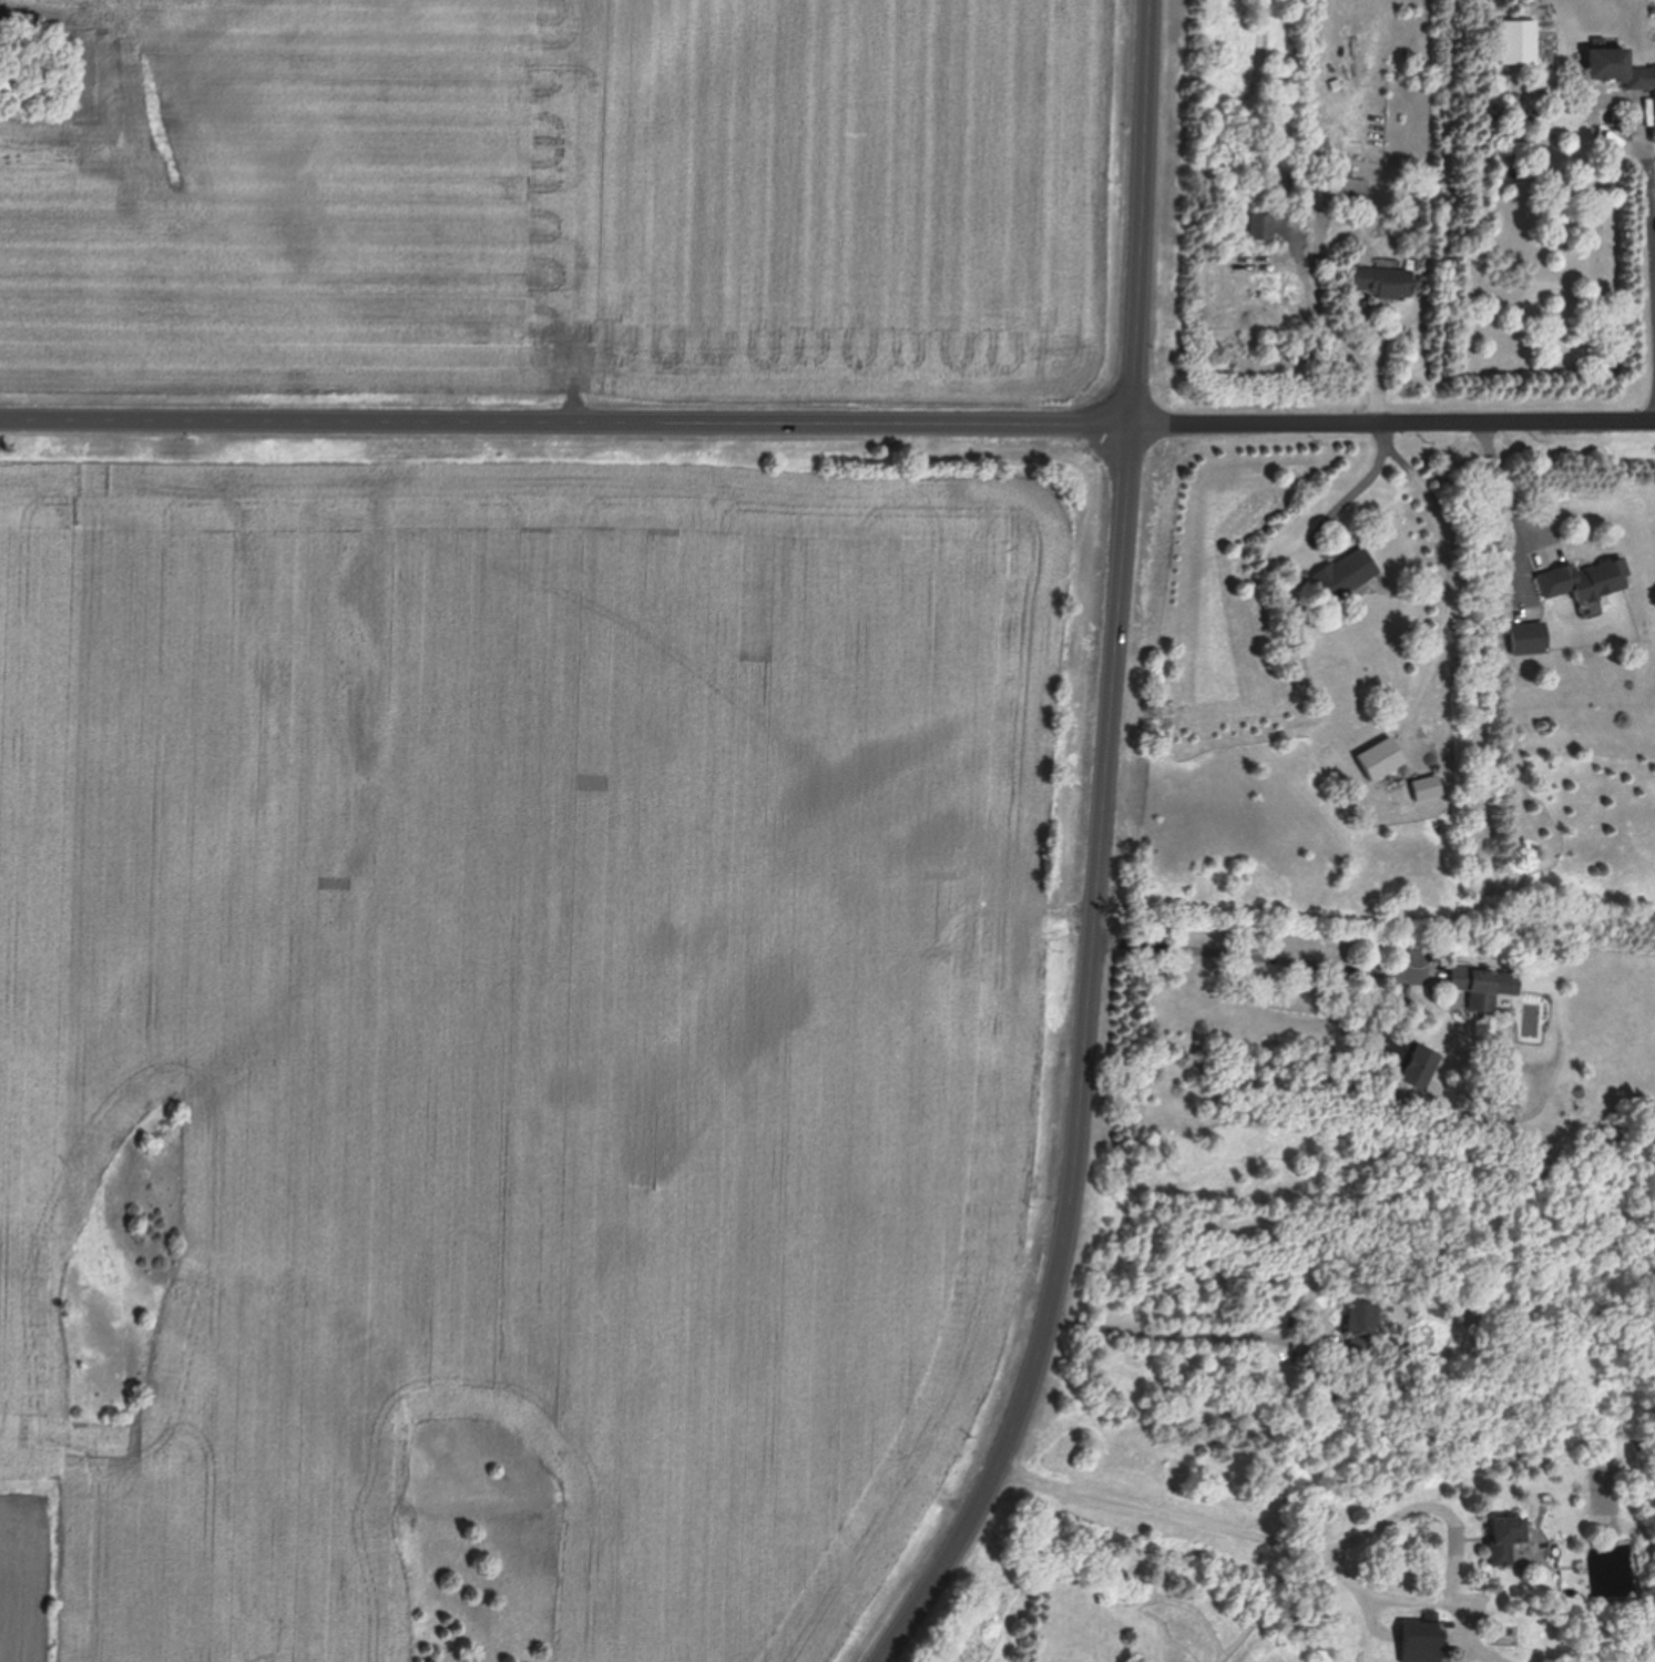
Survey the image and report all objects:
building: (1518, 43)
building: (1616, 70)
road: (1608, 135)
building: (1350, 194)
road: (1142, 212)
building: (1261, 228)
road: (1652, 251)
building: (1383, 284)
road: (1327, 323)
road: (566, 422)
road: (1393, 424)
road: (1513, 491)
road: (1348, 504)
building: (1346, 573)
road: (1448, 577)
building: (1585, 583)
building: (1530, 638)
building: (1381, 758)
building: (1428, 788)
road: (1263, 959)
building: (1478, 987)
road: (1085, 1065)
building: (1420, 1067)
building: (1361, 1319)
road: (1186, 1334)
road: (1165, 1511)
road: (1455, 1525)
building: (1510, 1538)
building: (1422, 1642)

